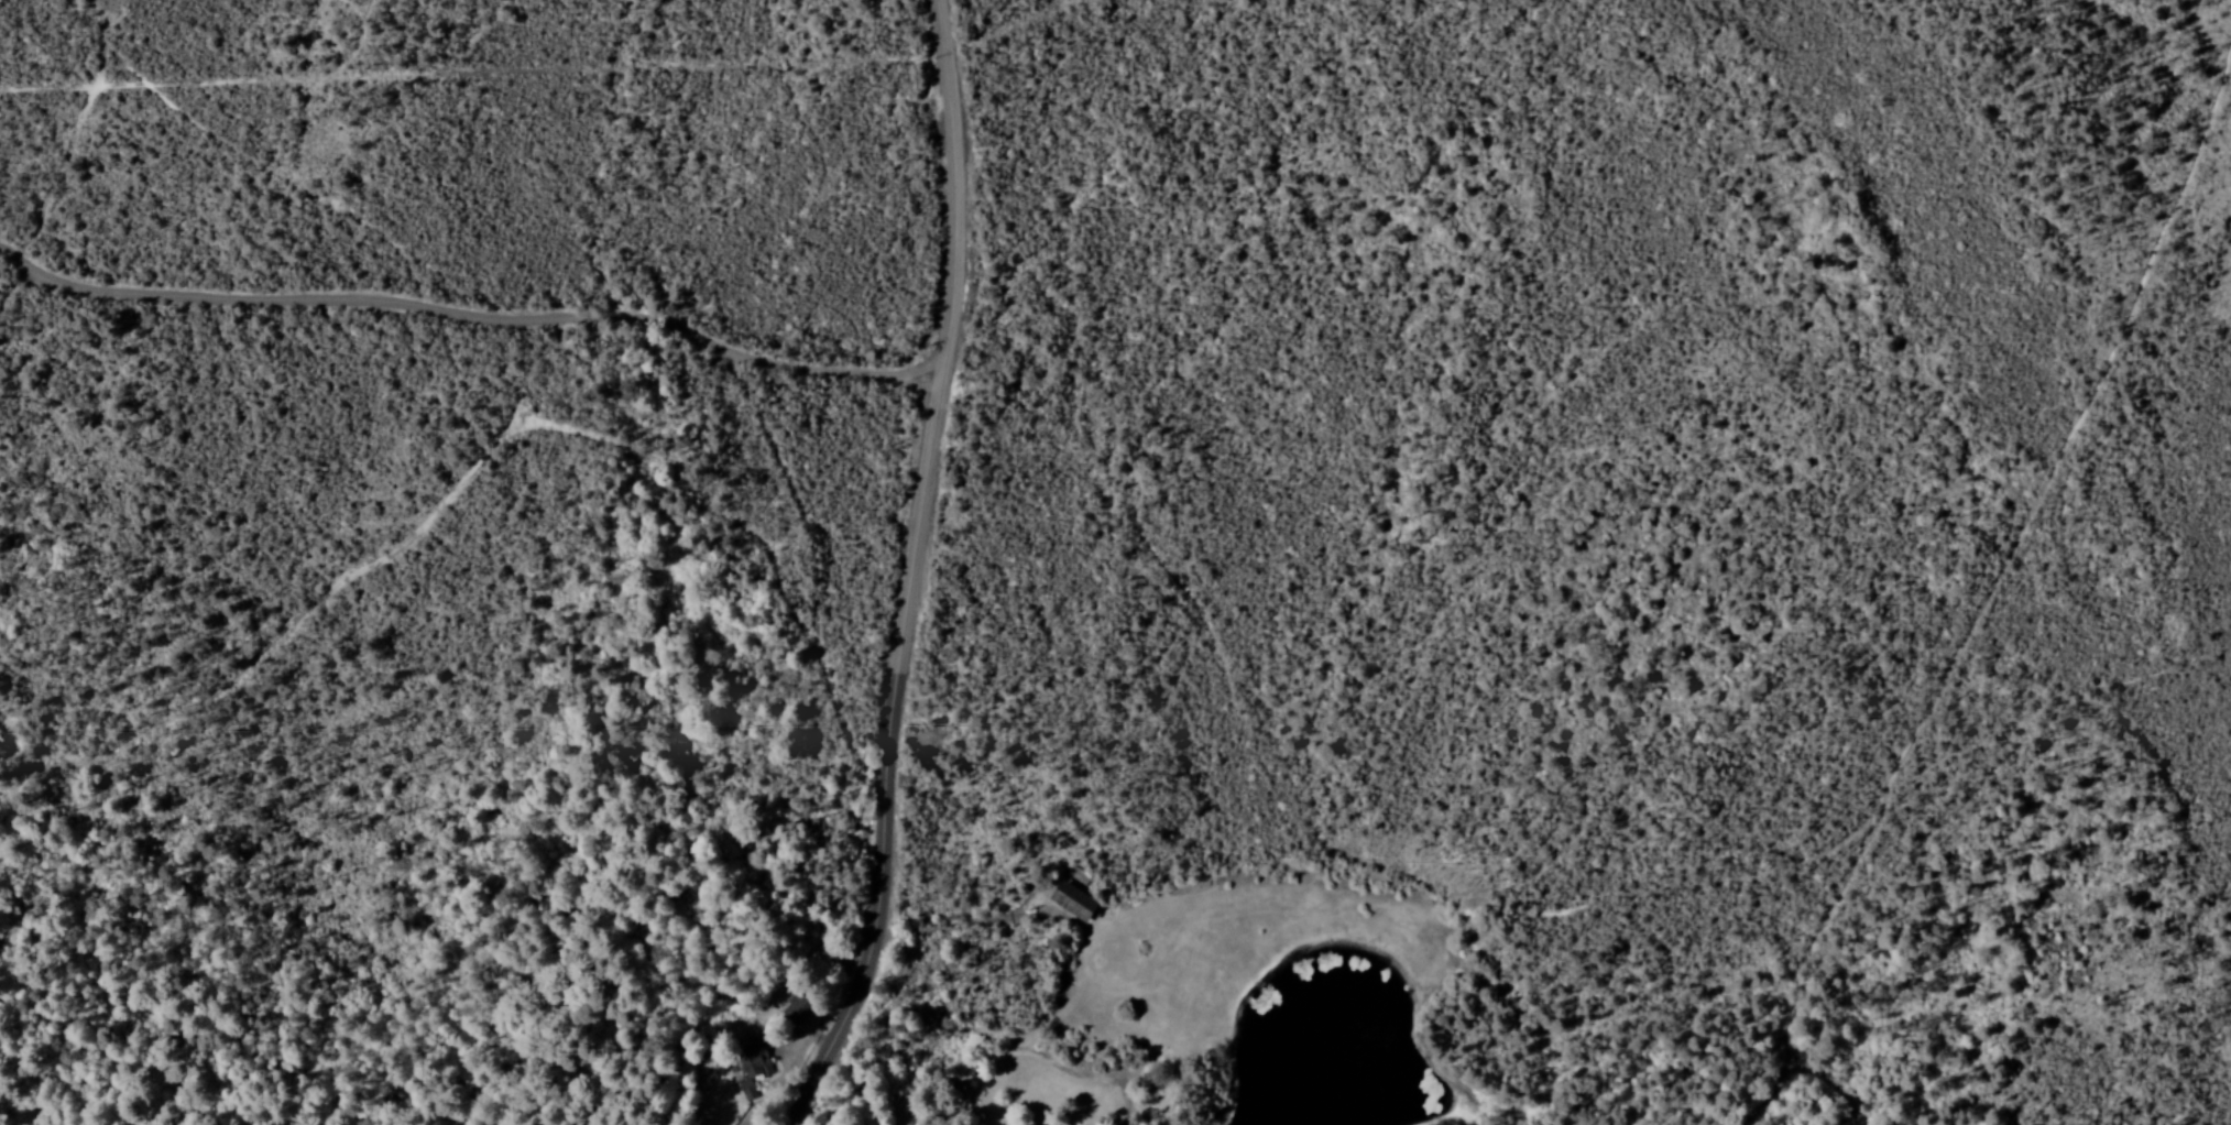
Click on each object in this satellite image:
road: (470, 320)
road: (909, 571)
building: (1079, 902)

